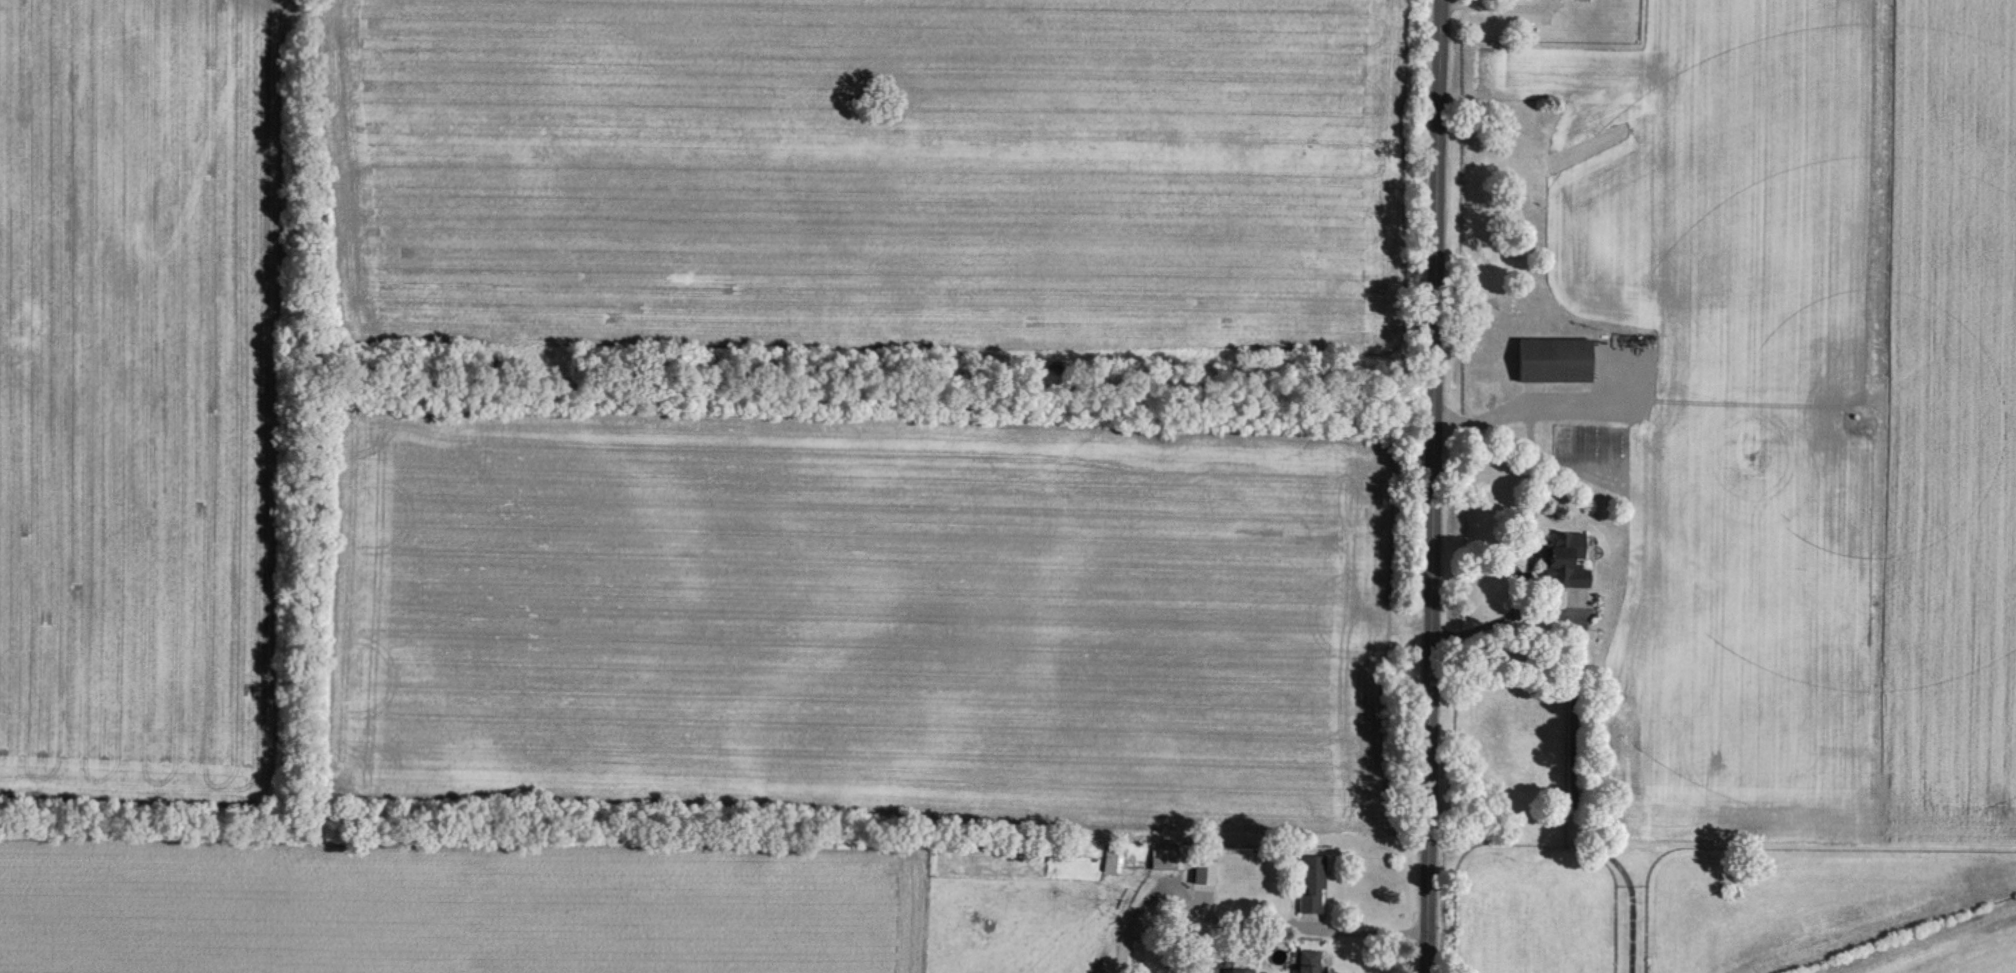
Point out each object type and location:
road: (1492, 12)
building: (1553, 358)
road: (1532, 407)
road: (1433, 486)
building: (1562, 562)
road: (1530, 568)
building: (1167, 856)
building: (1111, 858)
building: (1311, 882)
road: (1237, 922)
building: (1307, 961)
building: (1241, 970)

